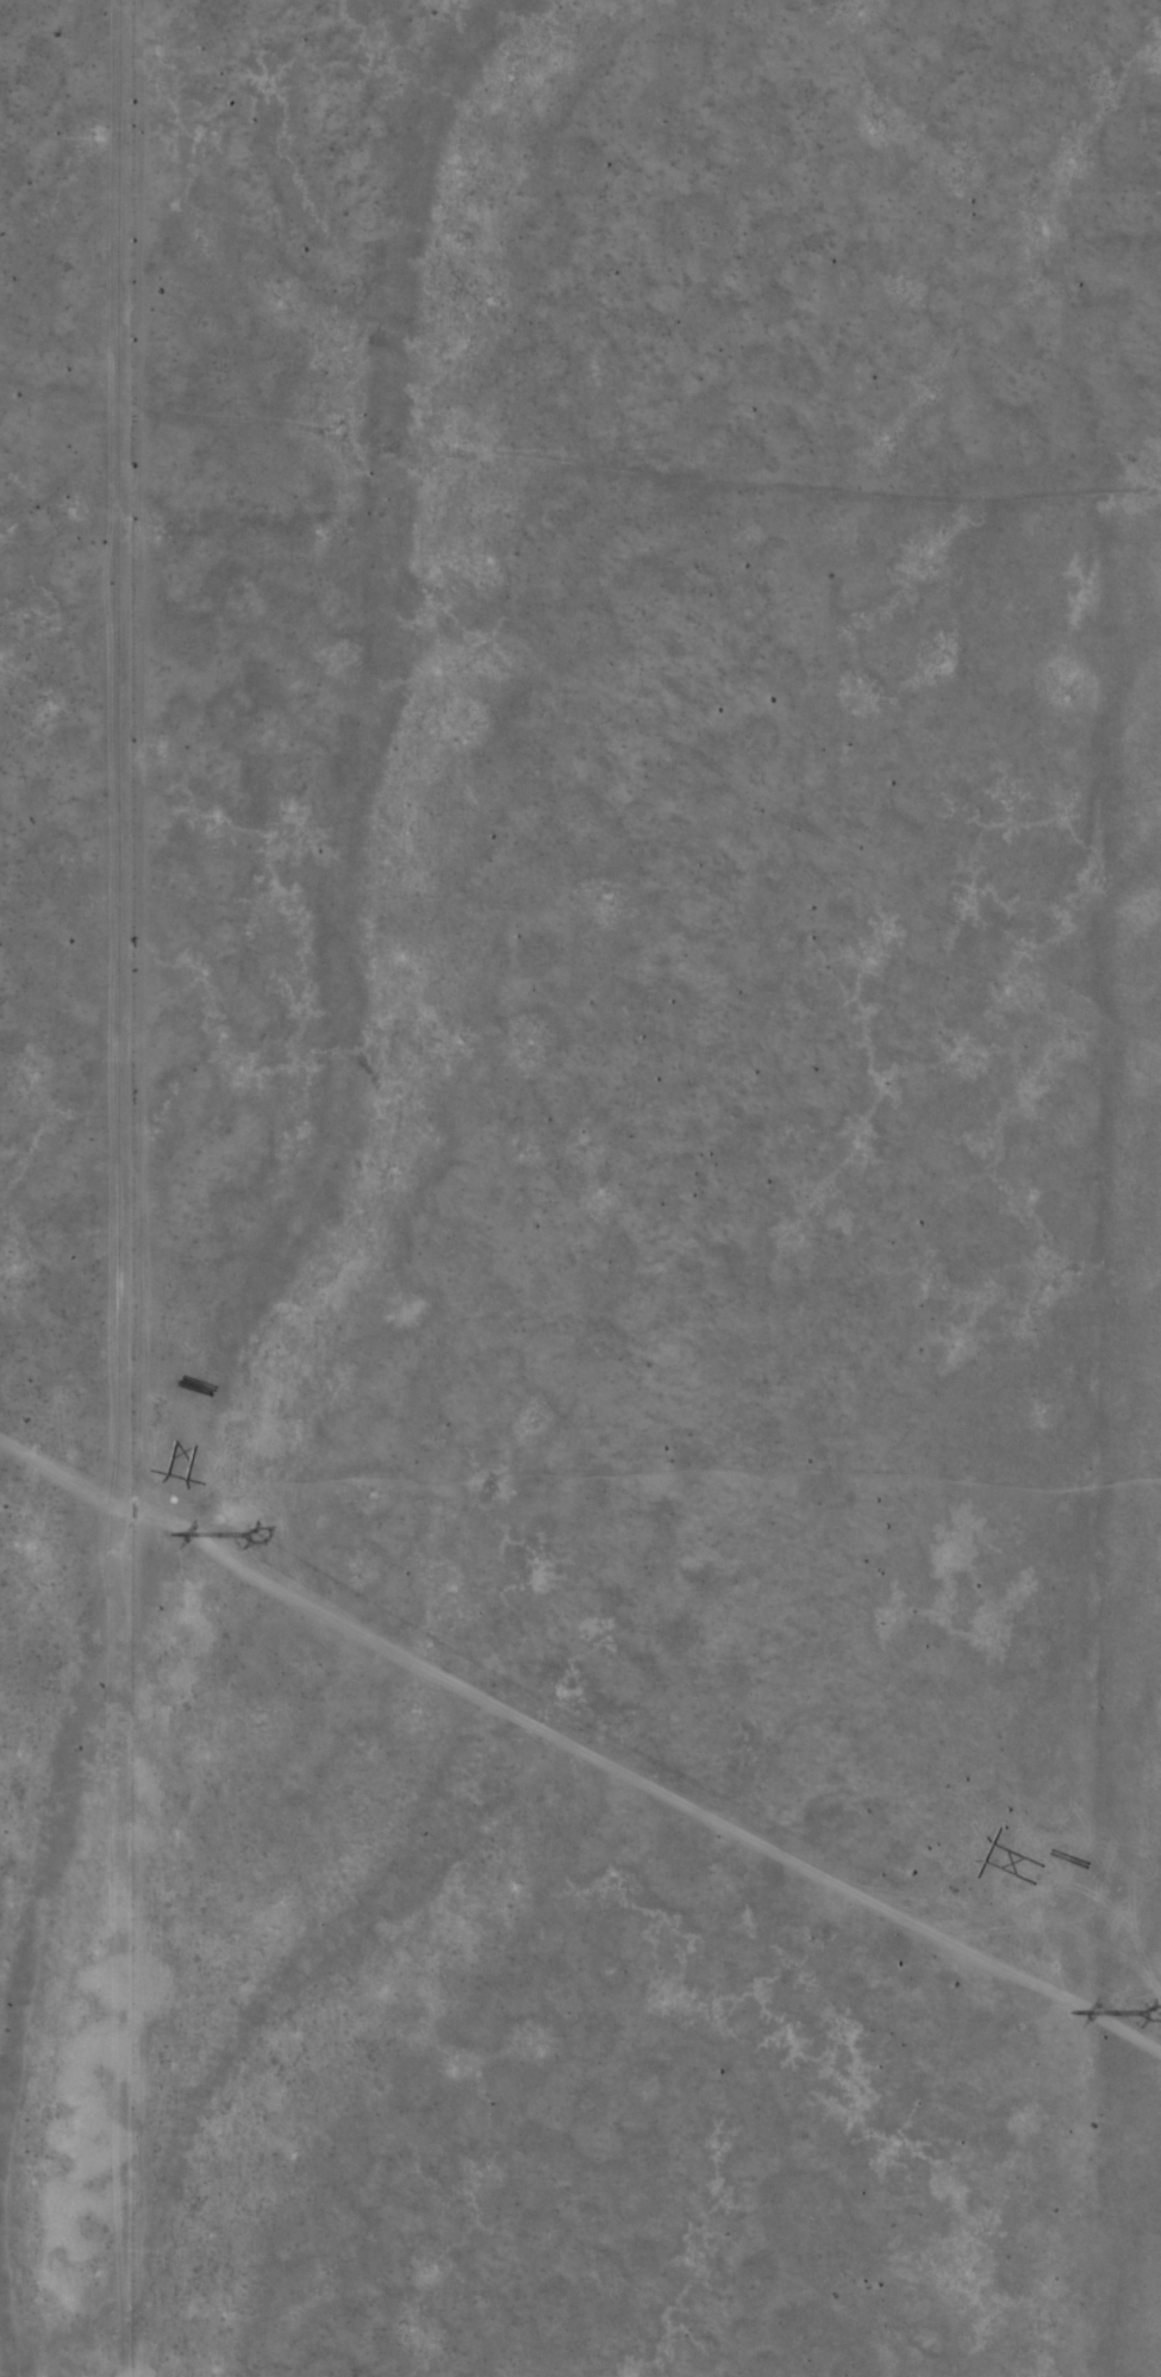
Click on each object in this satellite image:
road: (580, 443)
power tower: (167, 1536)
power tower: (1068, 2014)

